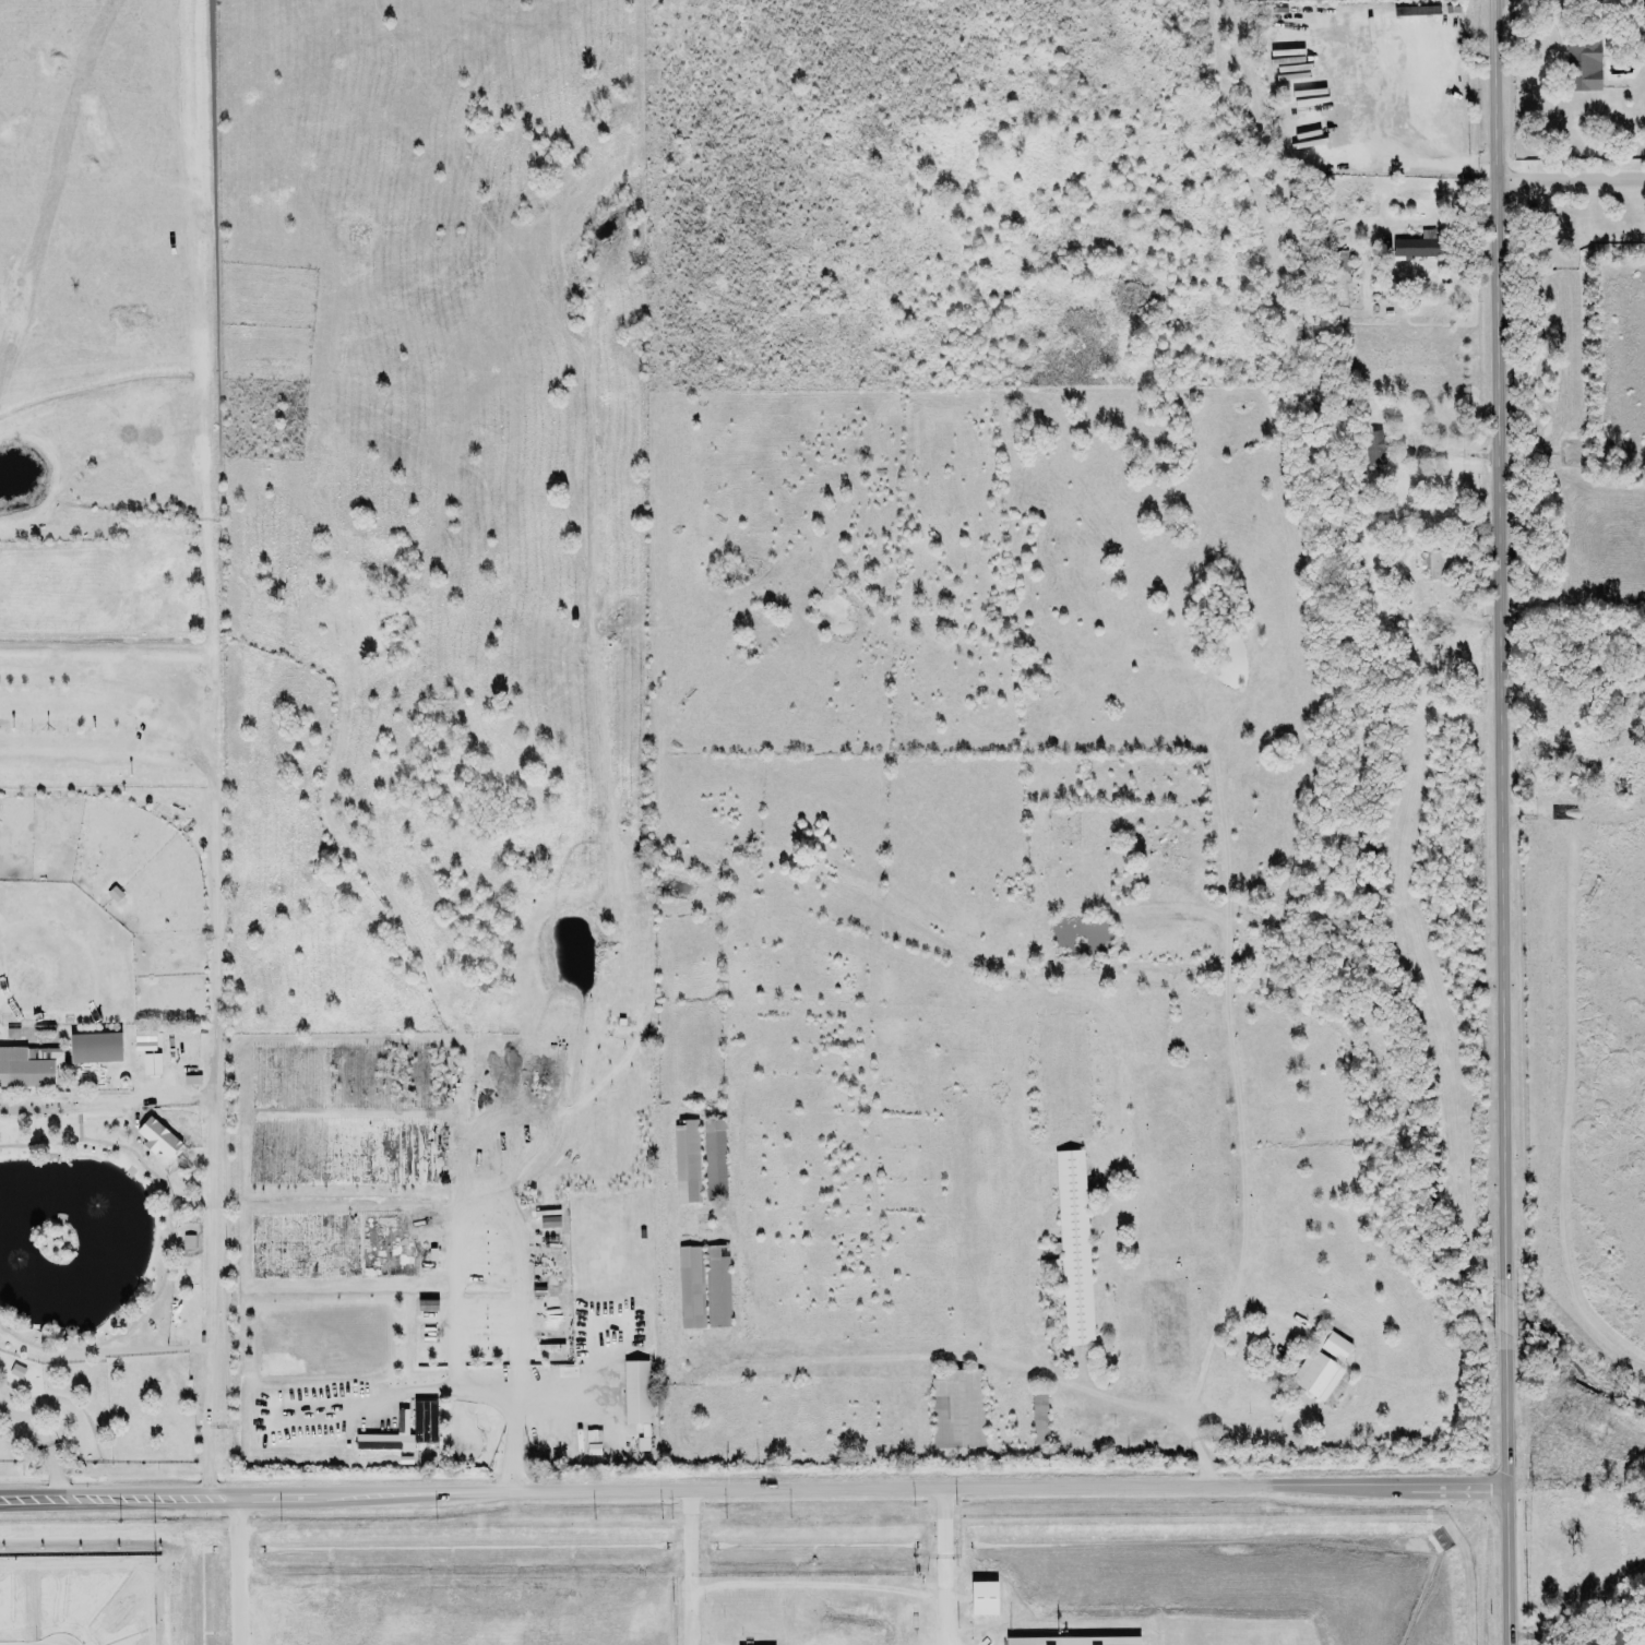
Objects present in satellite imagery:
building: (1638, 24)
building: (1583, 64)
road: (1443, 165)
road: (1569, 181)
building: (1419, 246)
building: (1339, 261)
building: (1374, 448)
building: (1434, 563)
road: (1497, 640)
river: (1391, 747)
road: (211, 815)
building: (1321, 1021)
building: (144, 1040)
building: (93, 1048)
building: (152, 1063)
building: (27, 1066)
building: (192, 1080)
building: (158, 1136)
building: (713, 1159)
building: (686, 1160)
road: (215, 1194)
road: (1243, 1215)
road: (486, 1217)
building: (549, 1221)
building: (189, 1241)
building: (1072, 1244)
building: (1047, 1264)
building: (717, 1285)
building: (690, 1287)
building: (427, 1304)
road: (1504, 1306)
building: (1054, 1309)
road: (962, 1354)
building: (1320, 1366)
building: (159, 1381)
road: (453, 1390)
building: (636, 1392)
building: (956, 1408)
building: (1038, 1417)
building: (424, 1421)
road: (47, 1439)
building: (643, 1443)
road: (1201, 1463)
road: (1576, 1486)
road: (1506, 1487)
road: (753, 1489)
road: (944, 1566)
road: (689, 1567)
road: (234, 1572)
building: (984, 1598)
building: (1616, 1634)
building: (1070, 1641)

